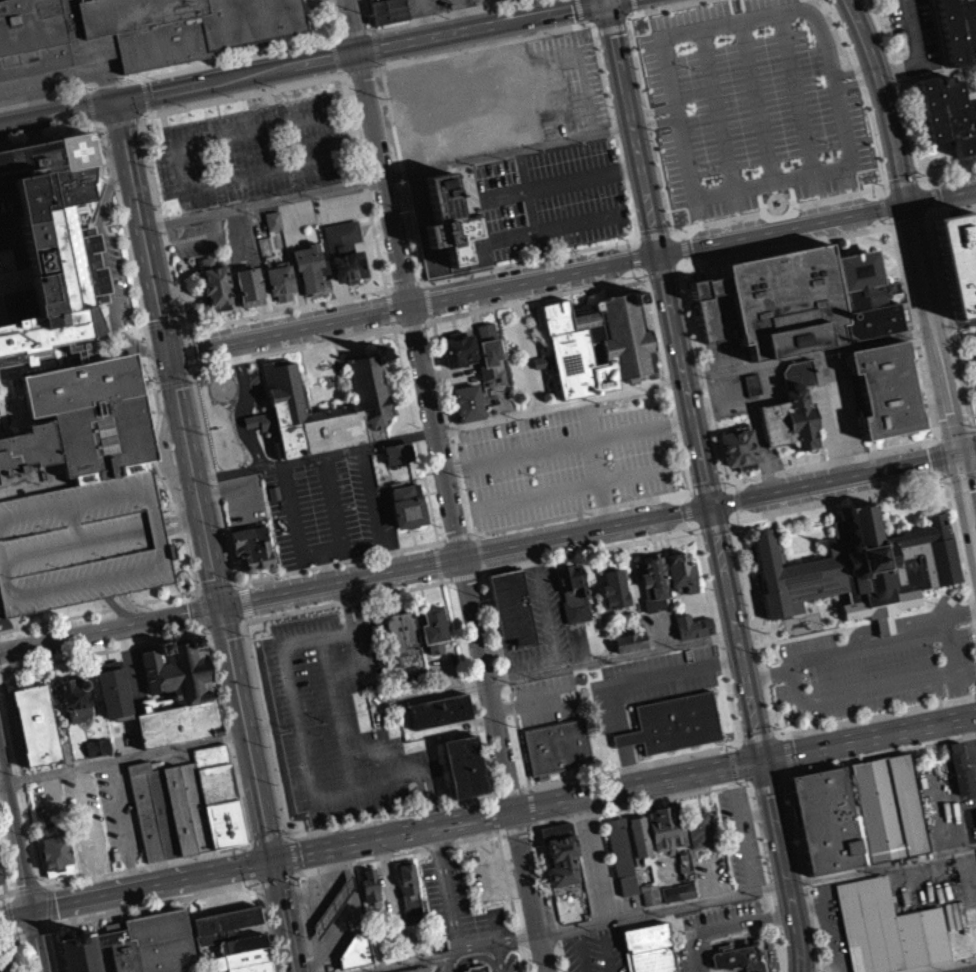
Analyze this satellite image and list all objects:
railway: (1, 0)
road: (604, 0)
road: (607, 0)
traffic signals: (605, 1)
building: (500, 2)
road: (634, 4)
building: (388, 10)
road: (635, 10)
road: (580, 12)
road: (369, 14)
road: (442, 14)
road: (877, 14)
road: (479, 25)
road: (612, 28)
road: (370, 29)
building: (957, 29)
building: (132, 30)
road: (351, 32)
parking lot: (914, 35)
road: (533, 39)
road: (375, 47)
road: (562, 51)
road: (920, 54)
road: (331, 58)
road: (213, 62)
road: (322, 63)
road: (376, 75)
road: (359, 78)
road: (856, 78)
road: (436, 79)
road: (247, 80)
road: (336, 80)
road: (343, 82)
parking lot: (567, 82)
road: (140, 83)
parking lot: (420, 83)
road: (644, 89)
road: (862, 90)
road: (159, 97)
road: (884, 97)
road: (45, 98)
road: (144, 101)
road: (266, 103)
parking lot: (754, 105)
road: (91, 106)
traffic signals: (114, 107)
road: (343, 114)
building: (948, 115)
road: (841, 116)
road: (57, 118)
road: (147, 118)
road: (350, 119)
street lamp: (142, 121)
road: (94, 122)
road: (160, 125)
road: (136, 127)
road: (912, 128)
street lamp: (343, 129)
road: (118, 130)
street lamp: (138, 140)
road: (358, 144)
helipad: (74, 150)
road: (361, 150)
road: (504, 151)
parking lot: (249, 158)
road: (361, 158)
road: (177, 176)
road: (920, 177)
street lamp: (153, 179)
road: (573, 179)
road: (931, 180)
road: (902, 181)
road: (116, 190)
road: (879, 191)
road: (504, 193)
road: (942, 193)
road: (933, 194)
parking lot: (552, 197)
traffic signals: (908, 200)
road: (881, 205)
parking lot: (377, 208)
road: (937, 208)
road: (259, 209)
road: (949, 210)
road: (149, 211)
road: (532, 212)
parking lot: (975, 212)
road: (779, 214)
parking lot: (337, 215)
road: (910, 219)
road: (581, 220)
road: (885, 220)
road: (897, 223)
road: (896, 224)
building: (270, 226)
parking lot: (294, 227)
building: (446, 227)
road: (653, 233)
road: (681, 233)
road: (139, 234)
road: (512, 235)
road: (632, 238)
road: (636, 238)
street lamp: (157, 240)
road: (365, 241)
road: (632, 242)
road: (186, 244)
parking lot: (196, 244)
building: (46, 245)
road: (684, 245)
road: (270, 247)
road: (166, 248)
parking lot: (239, 248)
road: (656, 253)
traffic signals: (657, 254)
road: (634, 256)
building: (342, 257)
parking lot: (387, 257)
building: (958, 258)
road: (687, 261)
road: (105, 268)
road: (679, 268)
road: (366, 272)
road: (638, 272)
road: (663, 272)
building: (307, 273)
road: (645, 275)
road: (535, 278)
road: (420, 282)
parking lot: (185, 283)
road: (425, 283)
road: (402, 285)
building: (277, 287)
road: (349, 287)
road: (362, 287)
building: (212, 292)
building: (247, 293)
road: (350, 294)
road: (384, 295)
road: (380, 296)
road: (428, 299)
building: (809, 299)
road: (351, 301)
street lamp: (375, 301)
road: (384, 301)
road: (232, 307)
building: (713, 307)
parking lot: (362, 308)
road: (387, 314)
parking lot: (322, 316)
road: (430, 320)
street lamp: (174, 321)
parking lot: (289, 323)
road: (954, 324)
street lamp: (253, 326)
road: (413, 326)
road: (176, 327)
parking lot: (258, 329)
road: (160, 330)
road: (398, 330)
street lamp: (177, 334)
parking lot: (215, 338)
road: (184, 339)
road: (379, 339)
road: (188, 341)
building: (598, 342)
road: (526, 346)
parking lot: (971, 347)
building: (458, 348)
parking lot: (523, 351)
road: (188, 355)
road: (338, 355)
building: (490, 355)
road: (75, 358)
traffic signals: (164, 362)
road: (941, 366)
road: (193, 369)
building: (538, 369)
road: (443, 372)
road: (191, 377)
road: (306, 378)
road: (174, 381)
road: (668, 383)
building: (753, 383)
road: (157, 385)
building: (885, 388)
road: (7, 389)
parking lot: (743, 390)
building: (751, 391)
building: (467, 401)
road: (563, 403)
parking lot: (836, 406)
building: (324, 408)
building: (792, 408)
road: (838, 413)
building: (94, 415)
road: (4, 416)
building: (258, 428)
road: (955, 436)
road: (567, 442)
building: (28, 446)
building: (739, 448)
building: (398, 451)
traffic signals: (960, 455)
building: (396, 460)
parking lot: (561, 460)
road: (595, 463)
building: (269, 475)
road: (843, 478)
road: (929, 481)
road: (735, 484)
road: (446, 485)
road: (570, 486)
road: (705, 486)
road: (684, 495)
road: (737, 498)
parking lot: (370, 503)
building: (407, 503)
traffic signals: (711, 505)
road: (375, 508)
road: (686, 509)
road: (166, 511)
parking lot: (314, 512)
road: (889, 513)
road: (741, 514)
road: (294, 516)
road: (185, 519)
road: (836, 519)
road: (690, 524)
road: (731, 524)
road: (831, 525)
road: (339, 527)
road: (715, 528)
road: (813, 528)
road: (801, 529)
road: (698, 531)
road: (476, 532)
road: (171, 535)
building: (81, 542)
parking garage: (81, 542)
building: (251, 545)
road: (465, 555)
road: (180, 562)
road: (191, 566)
building: (859, 567)
building: (681, 570)
building: (653, 581)
road: (233, 583)
road: (242, 583)
road: (216, 585)
building: (615, 587)
road: (199, 589)
building: (573, 592)
road: (193, 594)
road: (423, 596)
road: (245, 599)
road: (396, 601)
road: (750, 601)
building: (511, 604)
road: (948, 604)
traffic signals: (220, 605)
road: (196, 608)
road: (220, 609)
road: (919, 610)
road: (451, 612)
road: (952, 613)
road: (249, 617)
road: (919, 619)
road: (859, 622)
road: (550, 624)
road: (200, 625)
building: (693, 625)
road: (885, 625)
road: (223, 626)
road: (110, 628)
building: (434, 628)
parking lot: (542, 628)
road: (818, 632)
road: (860, 632)
building: (401, 633)
road: (260, 636)
road: (448, 640)
building: (630, 640)
road: (885, 641)
road: (104, 649)
building: (629, 649)
road: (364, 665)
building: (179, 667)
parking lot: (873, 671)
road: (651, 673)
parking lot: (134, 678)
parking lot: (648, 681)
building: (114, 689)
road: (862, 690)
building: (77, 697)
parking lot: (547, 697)
road: (534, 700)
building: (439, 709)
road: (877, 715)
parking lot: (339, 718)
building: (674, 722)
building: (35, 723)
building: (178, 723)
road: (974, 724)
road: (465, 731)
road: (619, 731)
road: (758, 735)
road: (787, 735)
road: (227, 736)
road: (868, 736)
road: (621, 738)
road: (741, 738)
road: (757, 738)
road: (736, 740)
building: (97, 745)
building: (556, 745)
road: (729, 748)
road: (791, 752)
road: (885, 752)
building: (96, 754)
road: (123, 756)
road: (304, 756)
traffic signals: (761, 758)
road: (387, 762)
road: (627, 764)
road: (733, 764)
building: (463, 765)
road: (794, 768)
building: (960, 768)
building: (214, 772)
road: (407, 775)
parking lot: (974, 777)
road: (22, 778)
road: (782, 778)
road: (736, 780)
road: (1, 781)
road: (767, 782)
road: (636, 783)
road: (752, 785)
road: (430, 786)
road: (421, 788)
road: (663, 798)
parking lot: (48, 800)
road: (280, 805)
building: (195, 806)
building: (179, 809)
building: (145, 810)
building: (162, 812)
building: (858, 812)
road: (433, 814)
parking lot: (103, 818)
building: (224, 822)
road: (122, 823)
road: (535, 823)
building: (666, 829)
building: (699, 829)
road: (90, 830)
road: (391, 833)
building: (640, 835)
road: (266, 836)
parking lot: (742, 836)
road: (465, 838)
road: (743, 838)
road: (250, 843)
road: (246, 846)
building: (55, 852)
building: (560, 852)
road: (293, 854)
building: (622, 854)
traffic signals: (270, 859)
road: (249, 862)
road: (146, 864)
road: (601, 867)
road: (803, 867)
road: (21, 869)
parking lot: (600, 870)
parking lot: (713, 874)
road: (712, 877)
building: (0, 878)
road: (3, 879)
road: (275, 880)
road: (257, 881)
road: (149, 884)
building: (371, 885)
road: (44, 886)
road: (448, 887)
building: (409, 889)
building: (678, 891)
road: (3, 895)
building: (650, 896)
parking lot: (457, 901)
road: (152, 902)
road: (812, 904)
building: (333, 905)
gas station: (333, 905)
road: (666, 907)
traffic signals: (30, 910)
road: (14, 913)
road: (282, 915)
road: (114, 916)
road: (304, 921)
road: (75, 924)
road: (497, 924)
road: (726, 924)
road: (832, 924)
road: (267, 927)
parking lot: (832, 928)
building: (887, 928)
parking lot: (710, 930)
road: (7, 933)
road: (748, 936)
building: (234, 939)
building: (150, 942)
road: (606, 945)
road: (56, 948)
road: (582, 948)
building: (649, 948)
building: (356, 950)
parking lot: (596, 950)
road: (17, 952)
building: (80, 952)
road: (476, 955)
building: (5, 957)
road: (498, 957)
building: (738, 957)
parking lot: (510, 960)
road: (447, 962)
road: (938, 964)
parking lot: (445, 965)
building: (478, 967)
building: (415, 969)

